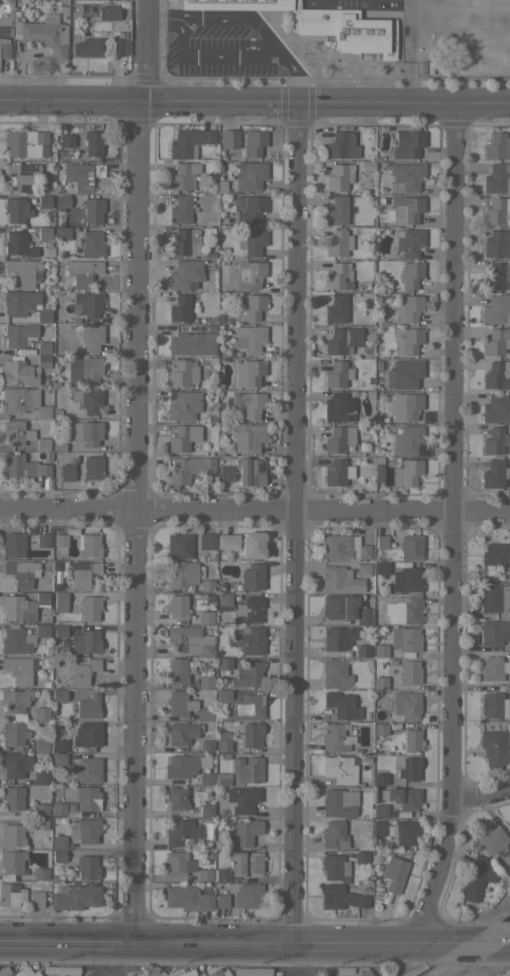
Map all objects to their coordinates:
building: (108, 12)
road: (166, 15)
road: (239, 15)
building: (321, 23)
building: (5, 30)
building: (42, 33)
parking lot: (221, 44)
building: (120, 46)
building: (88, 47)
building: (4, 48)
road: (152, 53)
road: (210, 55)
road: (296, 77)
road: (255, 106)
building: (229, 139)
building: (67, 140)
building: (93, 142)
building: (189, 142)
building: (26, 143)
building: (253, 143)
building: (407, 144)
building: (342, 145)
building: (497, 146)
building: (22, 175)
building: (82, 175)
building: (249, 175)
building: (184, 176)
building: (406, 176)
building: (339, 177)
building: (497, 178)
building: (44, 200)
building: (63, 200)
building: (248, 208)
building: (406, 208)
building: (16, 209)
building: (93, 209)
building: (180, 209)
building: (336, 210)
building: (497, 211)
building: (44, 232)
building: (62, 233)
building: (252, 241)
building: (409, 241)
building: (184, 242)
building: (92, 243)
building: (338, 243)
building: (496, 244)
building: (18, 245)
building: (23, 271)
building: (82, 271)
building: (249, 274)
building: (185, 275)
building: (410, 275)
building: (338, 276)
building: (495, 277)
building: (19, 302)
building: (89, 303)
building: (251, 307)
building: (409, 307)
building: (179, 308)
building: (336, 309)
building: (497, 310)
building: (43, 315)
building: (18, 333)
building: (91, 336)
building: (249, 338)
building: (342, 340)
building: (406, 340)
building: (496, 341)
building: (192, 343)
building: (43, 347)
building: (43, 361)
building: (83, 370)
building: (19, 372)
building: (248, 372)
building: (182, 373)
building: (404, 373)
building: (337, 374)
building: (497, 374)
building: (88, 399)
building: (23, 401)
building: (248, 403)
building: (183, 405)
building: (404, 406)
building: (338, 407)
building: (496, 408)
building: (16, 432)
building: (88, 432)
building: (183, 437)
building: (248, 438)
building: (339, 438)
building: (407, 439)
building: (495, 441)
building: (43, 444)
building: (23, 466)
building: (92, 467)
building: (189, 469)
building: (378, 469)
building: (250, 470)
building: (67, 472)
building: (337, 472)
building: (407, 472)
building: (226, 473)
building: (494, 473)
road: (254, 512)
road: (136, 524)
road: (295, 526)
road: (453, 526)
building: (43, 539)
building: (206, 541)
building: (227, 541)
building: (381, 542)
building: (59, 543)
building: (89, 544)
building: (253, 544)
building: (12, 545)
building: (337, 546)
building: (177, 547)
building: (365, 547)
building: (410, 547)
building: (495, 554)
building: (381, 567)
building: (363, 569)
building: (17, 573)
building: (181, 573)
building: (83, 574)
building: (252, 576)
building: (505, 577)
building: (339, 579)
building: (405, 579)
building: (206, 585)
building: (42, 598)
building: (494, 598)
building: (60, 601)
building: (224, 601)
building: (177, 606)
building: (338, 606)
building: (89, 607)
building: (18, 608)
building: (250, 608)
building: (403, 609)
building: (363, 616)
building: (205, 617)
building: (494, 632)
building: (27, 637)
building: (337, 637)
building: (248, 639)
building: (189, 640)
building: (404, 640)
building: (85, 641)
building: (362, 649)
building: (380, 650)
building: (59, 651)
building: (222, 662)
building: (493, 668)
building: (18, 669)
building: (82, 669)
building: (176, 671)
building: (407, 672)
building: (334, 673)
building: (246, 674)
building: (205, 681)
building: (380, 682)
building: (59, 694)
building: (223, 697)
building: (15, 701)
building: (179, 703)
building: (339, 704)
building: (406, 704)
building: (493, 705)
building: (88, 707)
building: (247, 707)
building: (41, 713)
building: (205, 713)
building: (380, 728)
building: (181, 732)
building: (13, 733)
building: (87, 734)
building: (251, 734)
building: (333, 737)
building: (412, 740)
building: (223, 741)
building: (40, 743)
building: (59, 745)
building: (206, 746)
building: (495, 748)
building: (58, 758)
building: (202, 761)
building: (14, 764)
building: (180, 765)
building: (247, 768)
building: (87, 769)
building: (339, 769)
building: (409, 769)
building: (40, 777)
building: (206, 778)
building: (221, 778)
building: (380, 778)
road: (481, 793)
building: (12, 797)
building: (83, 797)
building: (402, 797)
building: (177, 798)
building: (240, 799)
building: (339, 802)
building: (57, 808)
building: (40, 809)
building: (206, 810)
building: (378, 810)
building: (40, 822)
building: (379, 827)
building: (85, 830)
building: (180, 831)
building: (405, 831)
building: (242, 833)
building: (333, 834)
building: (11, 835)
building: (492, 839)
building: (58, 841)
building: (58, 855)
building: (361, 857)
building: (11, 861)
building: (177, 863)
building: (245, 863)
building: (87, 866)
building: (333, 866)
building: (39, 873)
building: (394, 873)
building: (204, 874)
building: (221, 874)
building: (474, 878)
building: (11, 894)
building: (36, 894)
building: (247, 895)
building: (75, 896)
building: (340, 897)
building: (188, 898)
building: (221, 900)
road: (485, 941)
road: (230, 944)
road: (415, 958)
road: (122, 961)
road: (290, 961)
road: (484, 961)
building: (343, 969)
building: (62, 970)
building: (4, 971)
building: (252, 971)
building: (27, 972)
building: (180, 972)
building: (218, 972)
building: (361, 973)
building: (134, 974)
building: (324, 974)

